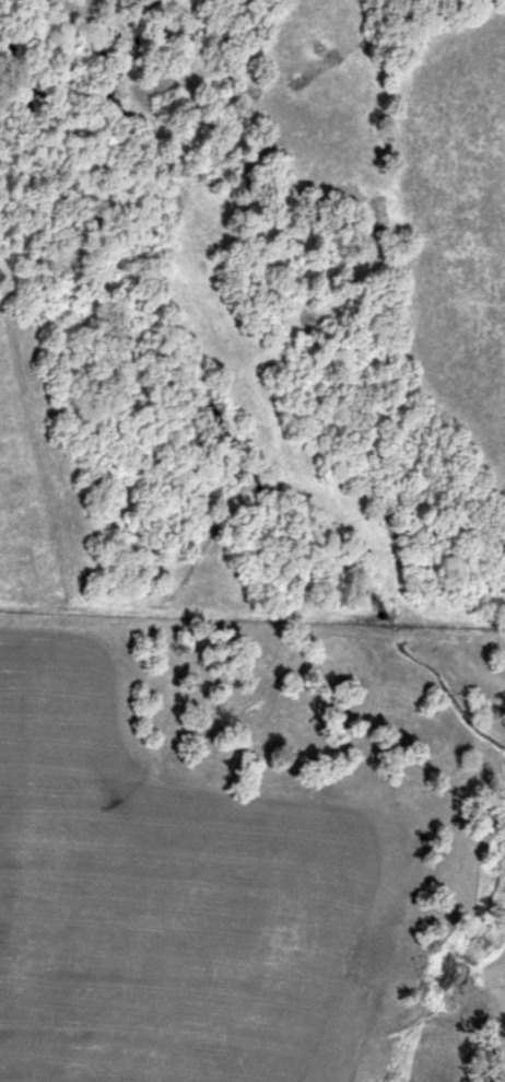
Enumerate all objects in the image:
crop: (190, 892)

